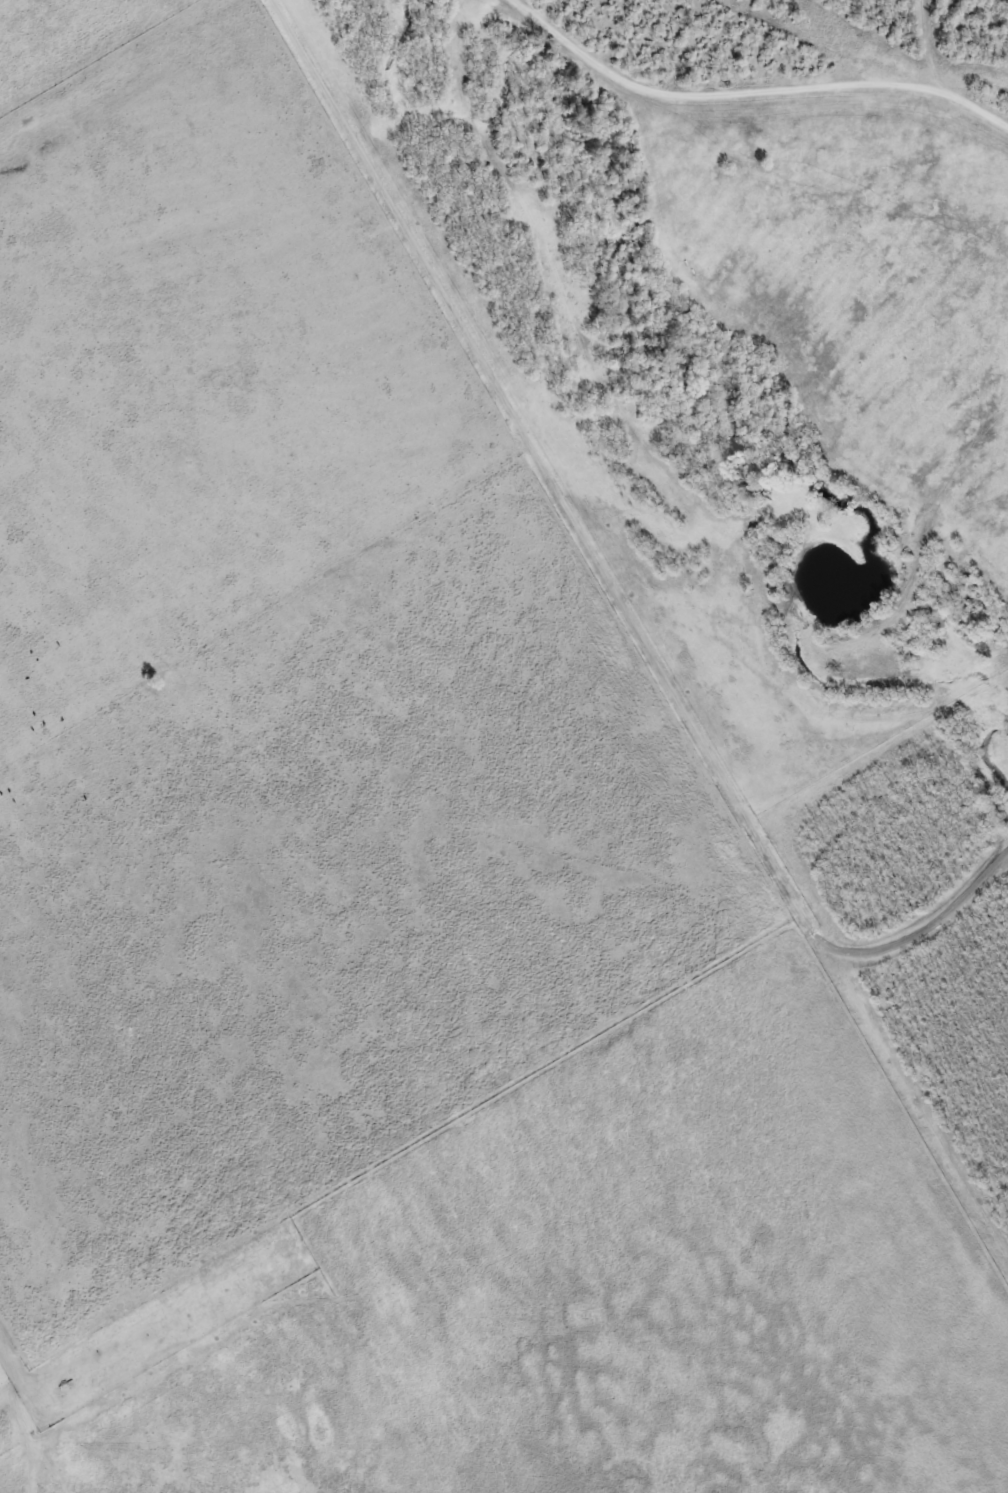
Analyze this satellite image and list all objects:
road: (742, 91)

